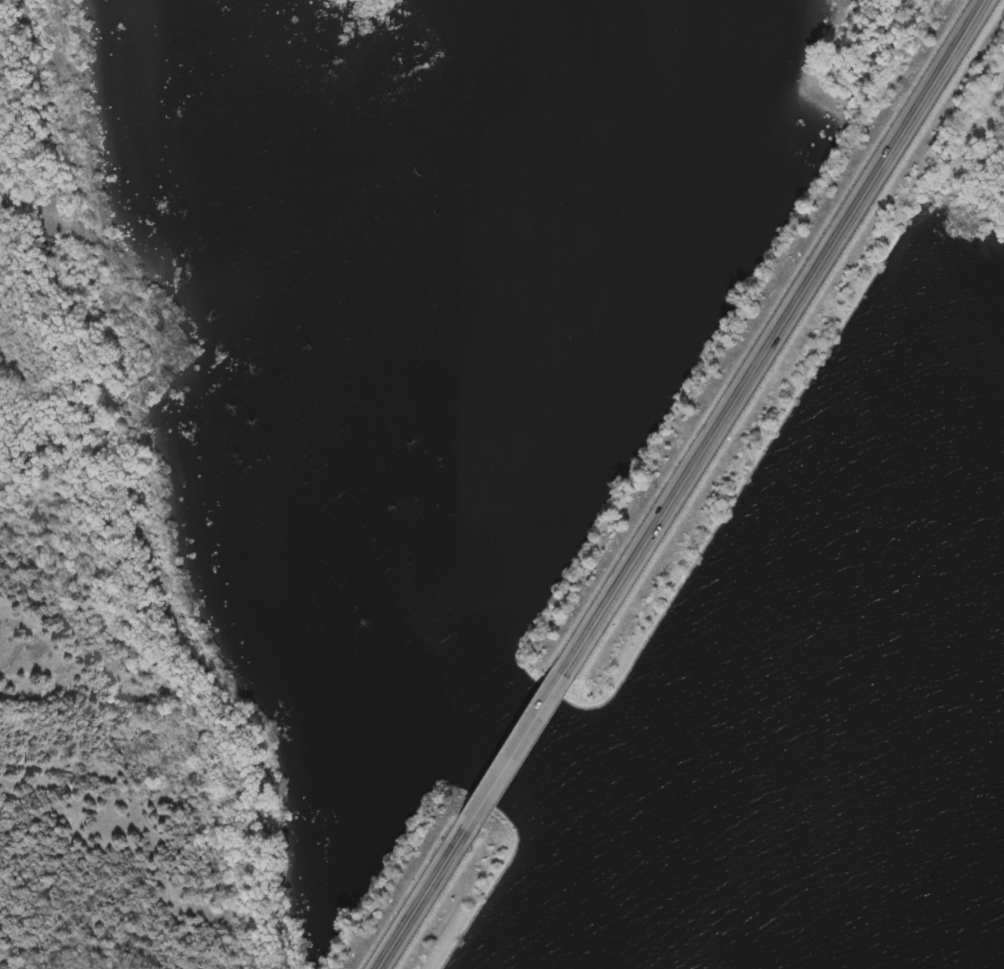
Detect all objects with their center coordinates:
road: (671, 484)

